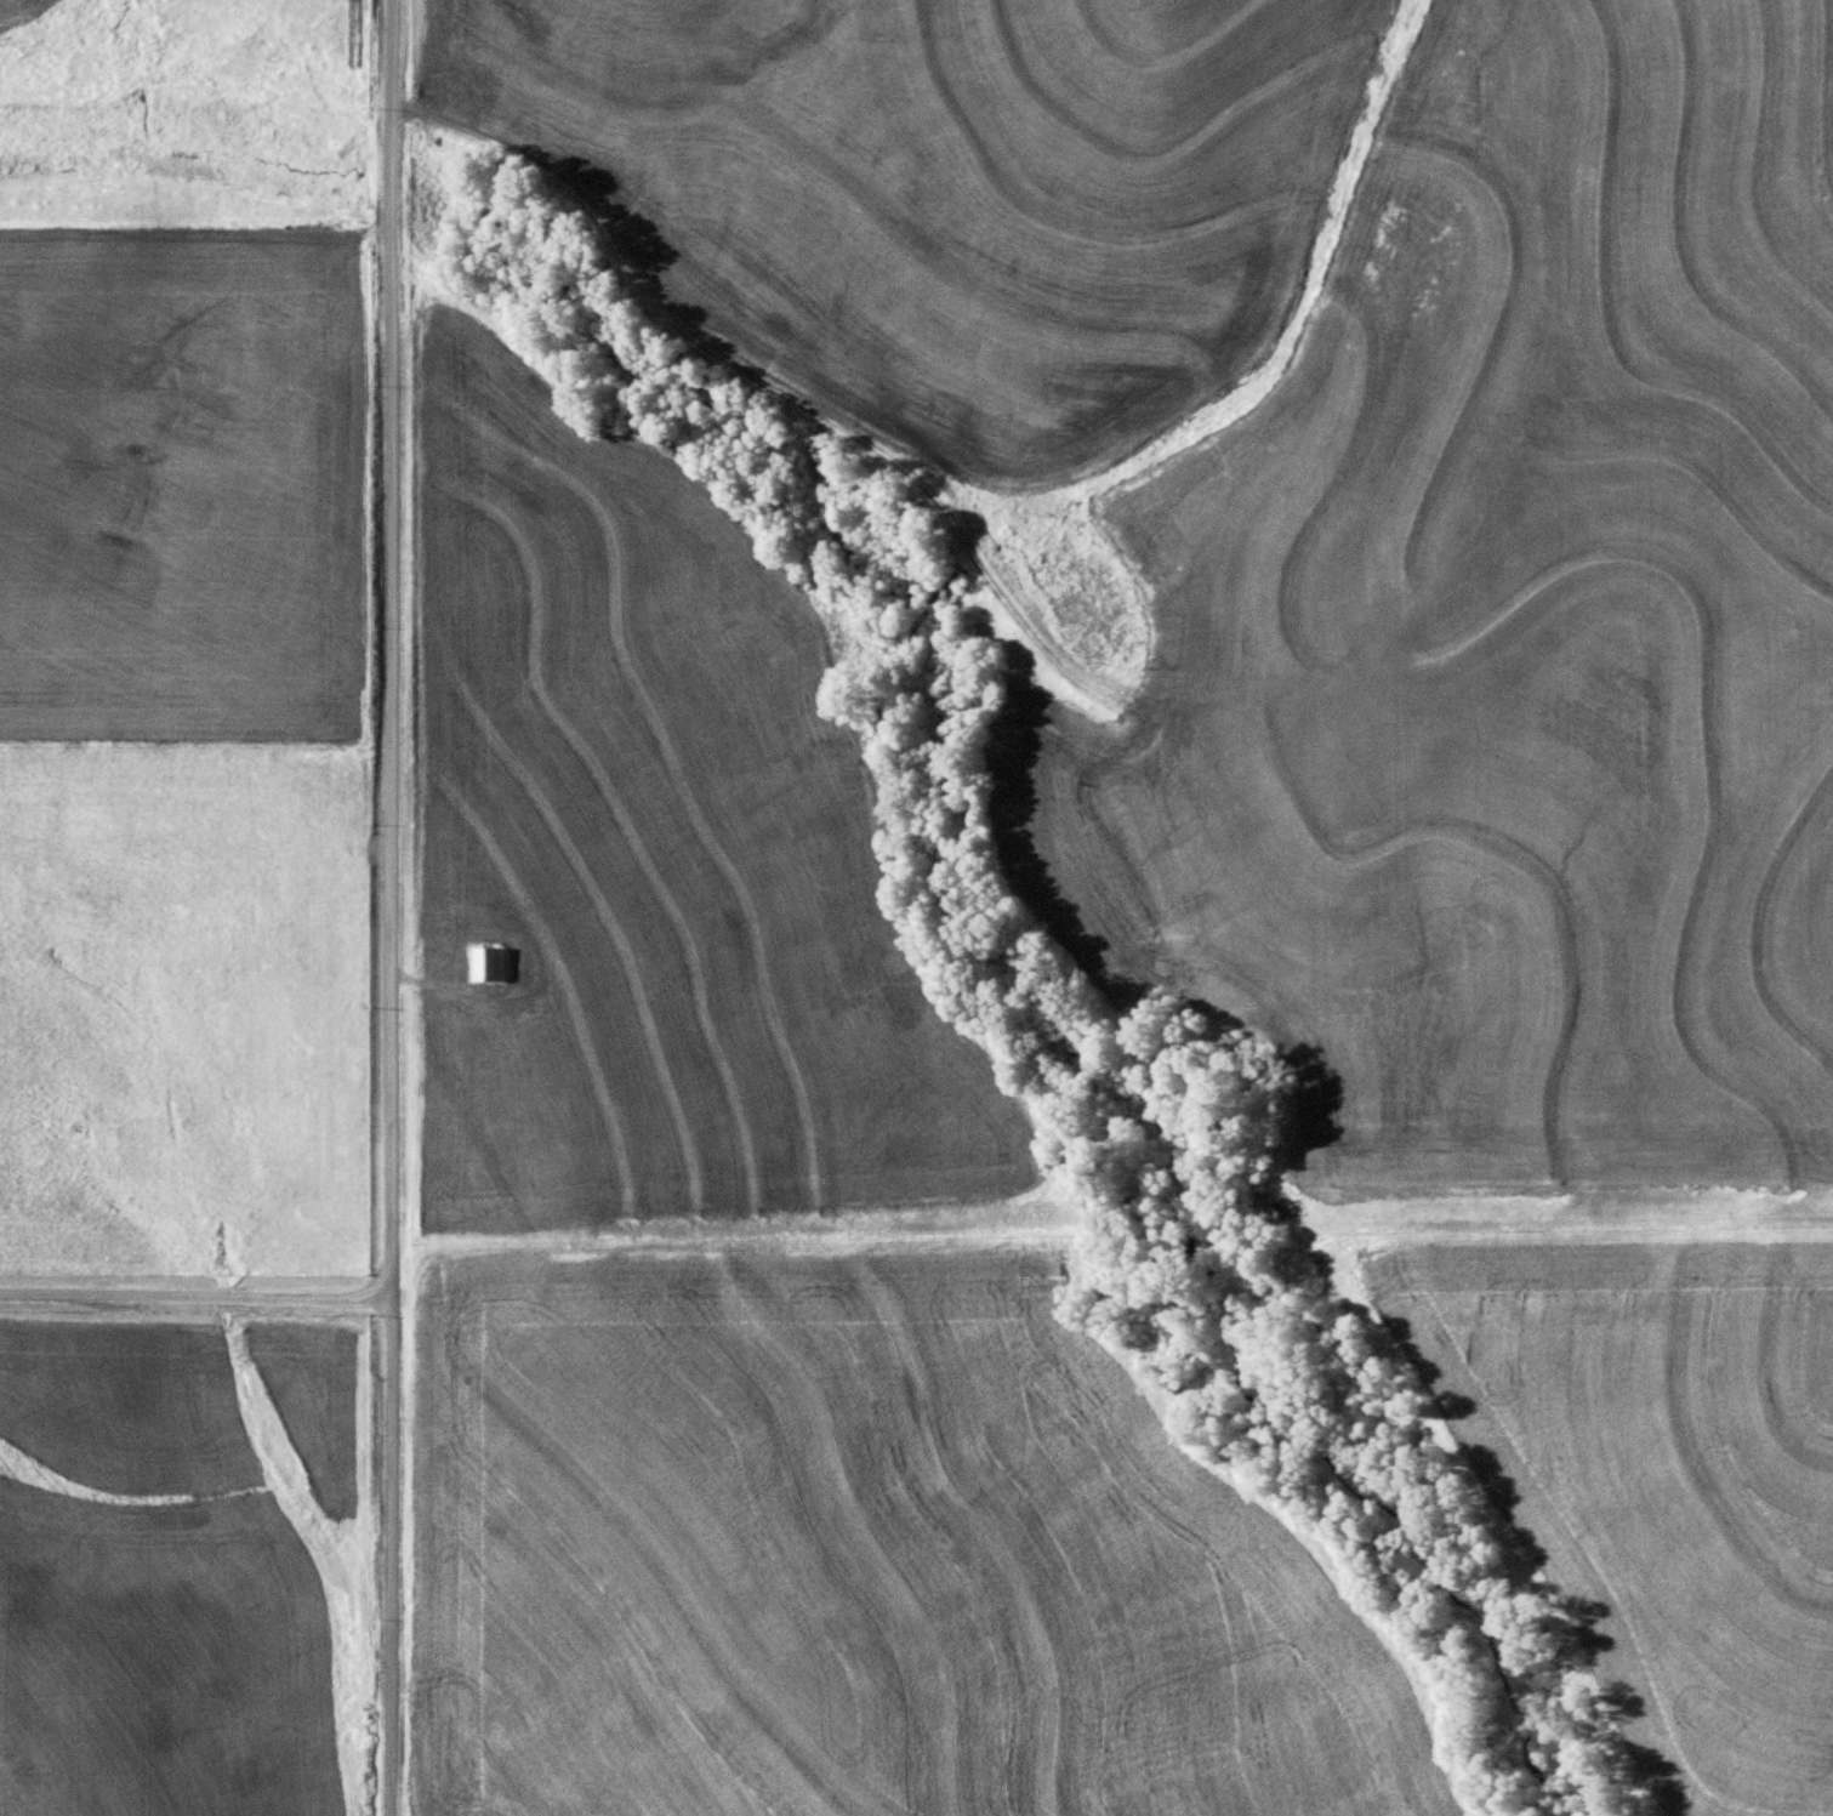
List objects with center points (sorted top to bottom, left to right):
road: (392, 907)
building: (489, 958)
road: (193, 1298)

